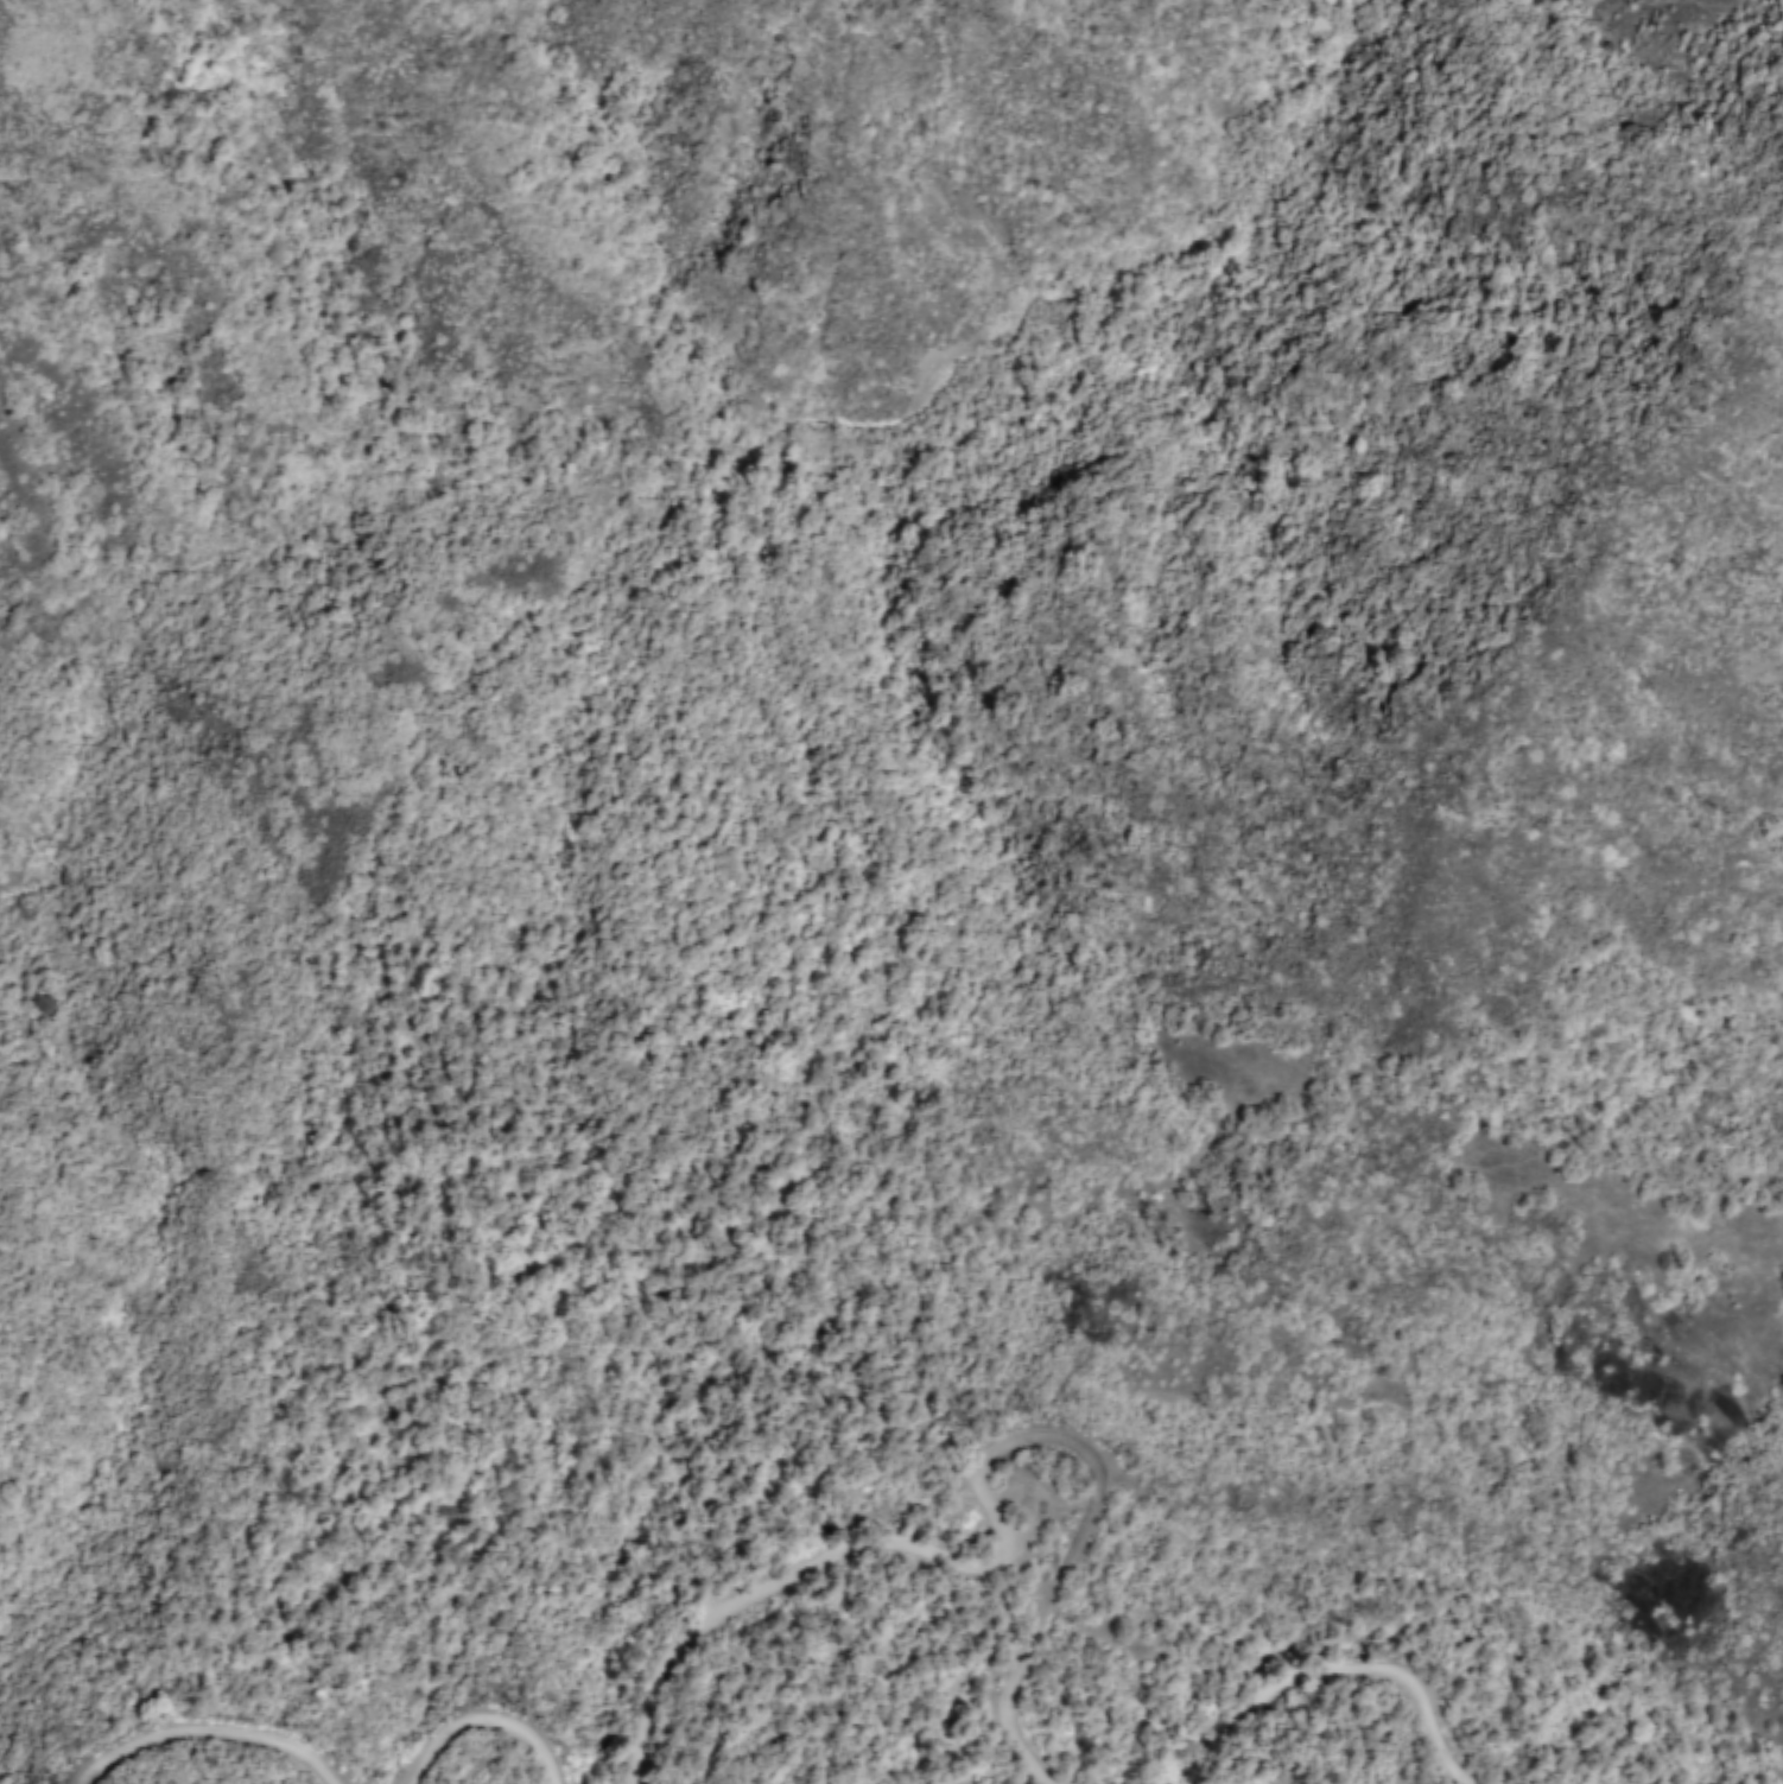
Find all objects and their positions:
road: (996, 1520)
road: (1346, 1670)
road: (483, 1719)
road: (209, 1733)

